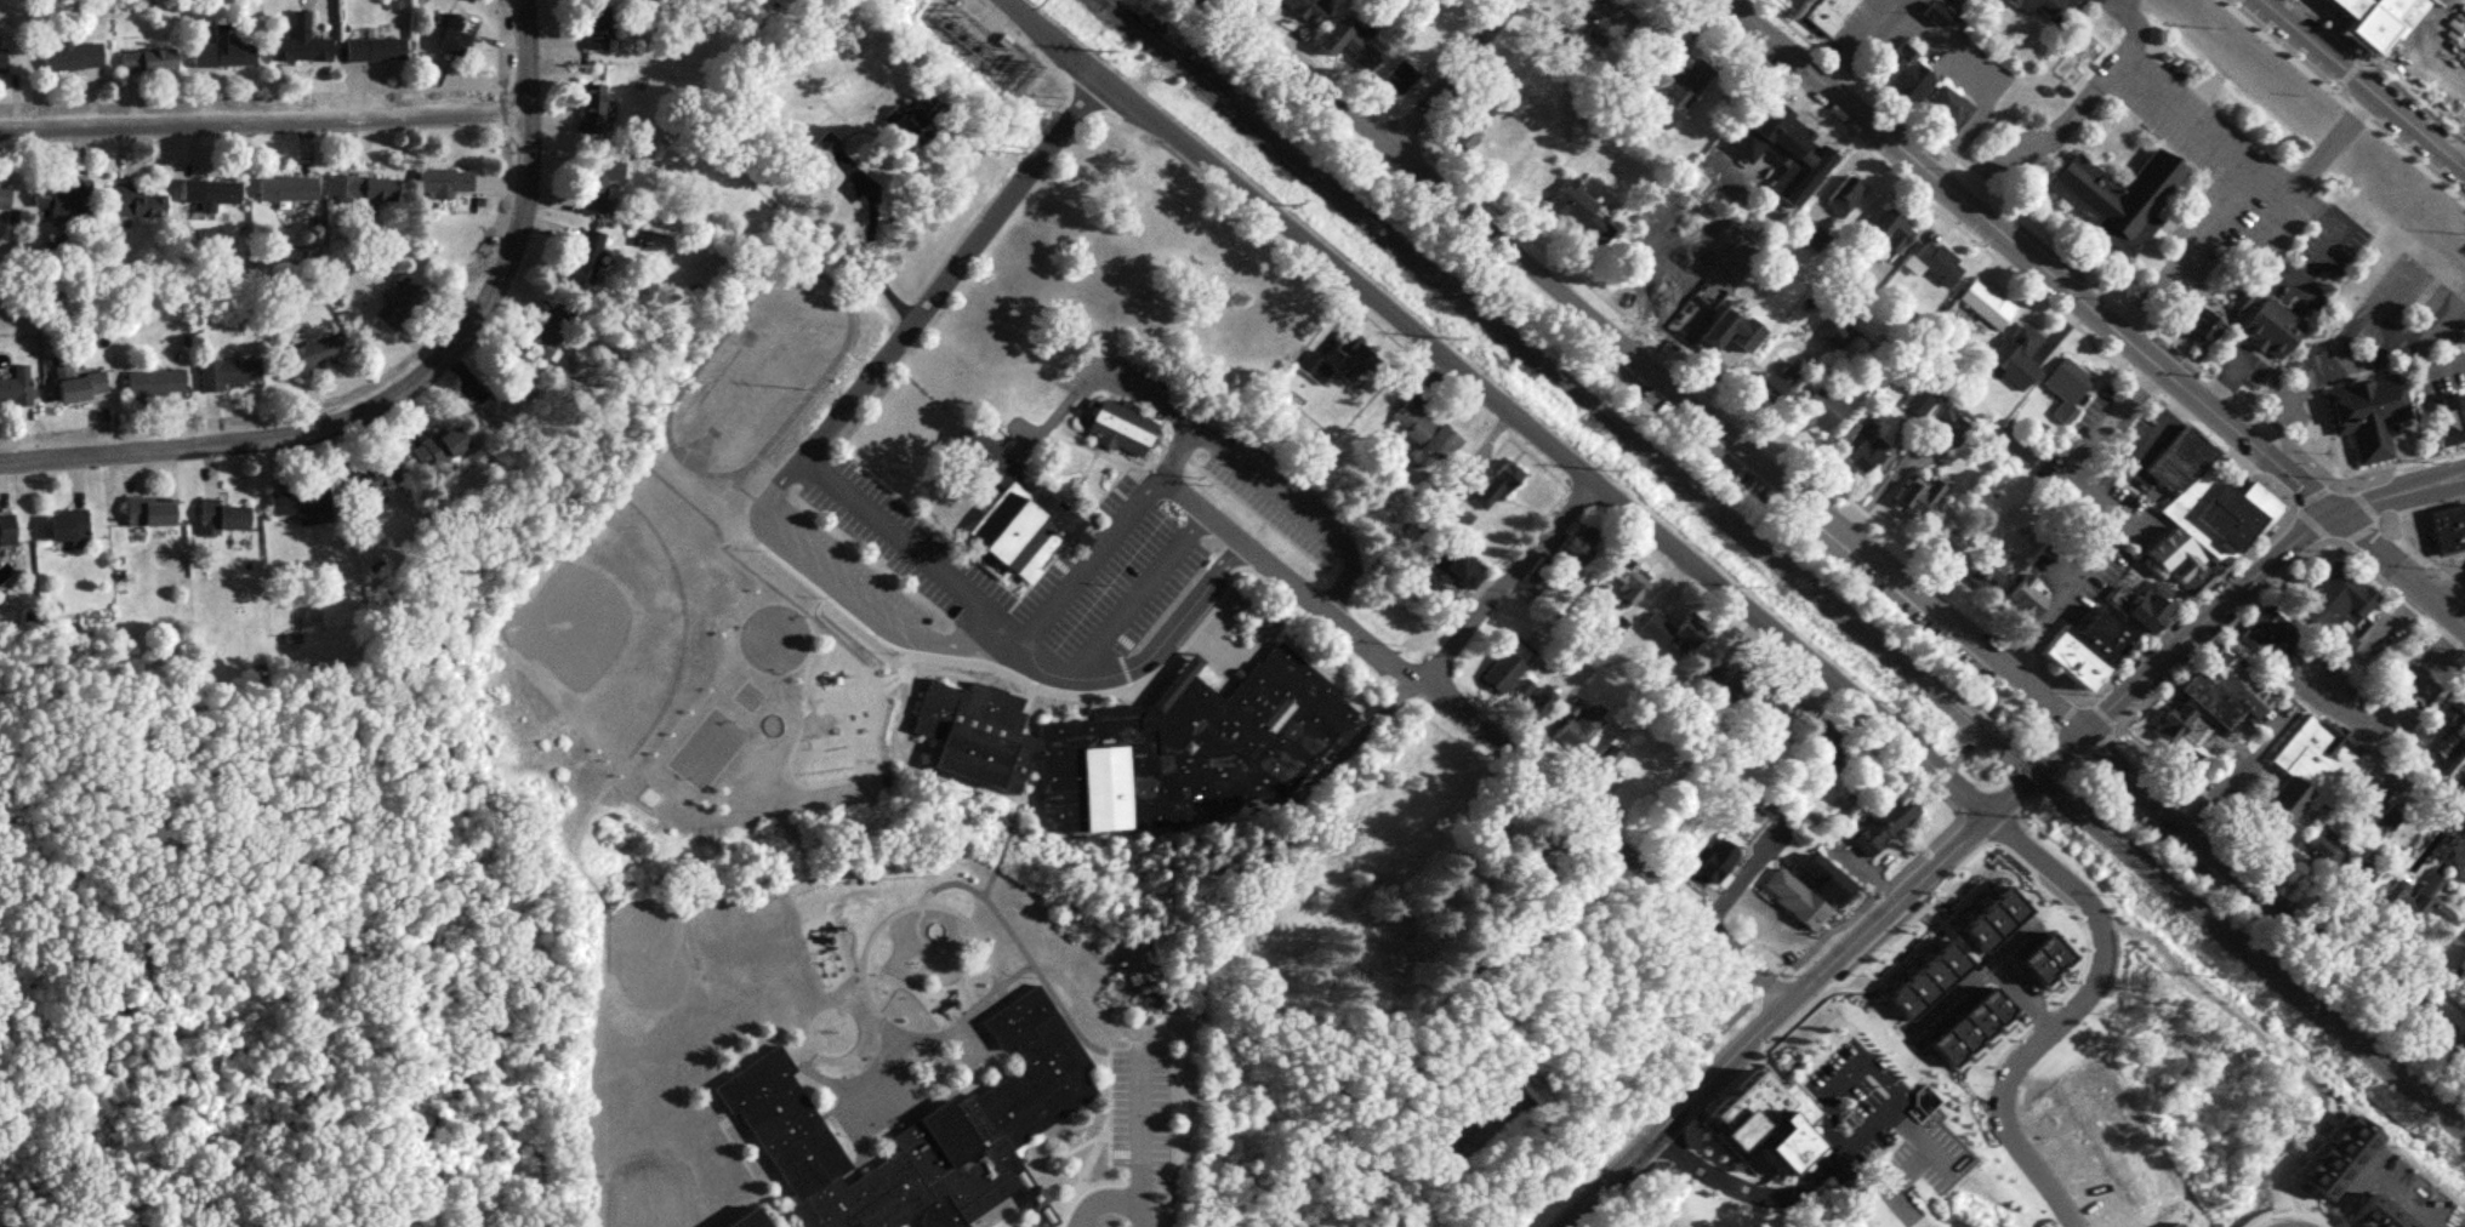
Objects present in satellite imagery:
parking lot: (2077, 2)
road: (2116, 2)
building: (2032, 5)
building: (1296, 6)
building: (1829, 13)
building: (1931, 13)
building: (1605, 19)
building: (2374, 19)
parking lot: (1857, 22)
building: (598, 24)
road: (2134, 30)
building: (460, 34)
building: (1334, 38)
road: (1857, 40)
building: (302, 41)
building: (376, 46)
building: (226, 48)
parking lot: (2438, 50)
road: (2284, 51)
building: (74, 53)
building: (5, 58)
building: (152, 59)
road: (1314, 59)
road: (2384, 67)
road: (2118, 68)
road: (2349, 70)
road: (1452, 73)
building: (1901, 73)
building: (1395, 78)
road: (1976, 80)
road: (2368, 80)
building: (1679, 92)
building: (594, 107)
building: (1946, 108)
road: (2356, 110)
building: (906, 118)
road: (263, 120)
road: (2186, 124)
building: (1468, 125)
road: (1402, 131)
road: (2040, 138)
road: (2325, 142)
building: (1791, 156)
road: (2415, 161)
parking lot: (2218, 170)
building: (446, 181)
building: (597, 184)
building: (289, 187)
building: (366, 187)
building: (212, 192)
building: (1843, 195)
road: (2272, 195)
building: (6, 196)
building: (66, 196)
building: (2112, 196)
building: (142, 200)
building: (1572, 201)
road: (2315, 206)
road: (2215, 216)
building: (1888, 233)
road: (2261, 236)
road: (2051, 238)
parking lot: (2329, 244)
road: (2324, 247)
road: (1988, 252)
road: (872, 256)
road: (2027, 256)
building: (590, 257)
building: (1936, 262)
road: (2299, 283)
parking lot: (2283, 286)
road: (932, 287)
building: (1714, 291)
road: (2148, 293)
building: (1675, 301)
building: (403, 303)
building: (1982, 303)
building: (2201, 325)
building: (2266, 327)
building: (556, 329)
building: (1831, 329)
building: (1726, 332)
building: (319, 352)
road: (2386, 353)
building: (2014, 354)
building: (1351, 355)
road: (2332, 360)
building: (230, 371)
building: (158, 381)
railway: (1559, 382)
building: (81, 383)
road: (410, 383)
building: (1769, 384)
building: (2065, 386)
building: (17, 389)
road: (1719, 392)
building: (512, 396)
road: (2305, 398)
building: (1918, 403)
road: (1502, 404)
building: (1817, 409)
building: (2363, 412)
building: (2446, 418)
building: (1117, 424)
building: (1422, 428)
building: (445, 445)
building: (1860, 447)
road: (1225, 450)
road: (1177, 452)
building: (991, 461)
road: (2397, 463)
building: (375, 478)
building: (1485, 481)
road: (2397, 489)
road: (2309, 492)
building: (1914, 495)
road: (2103, 498)
road: (2359, 498)
building: (2210, 500)
building: (306, 502)
road: (2441, 506)
building: (154, 509)
building: (226, 514)
road: (2406, 514)
road: (2385, 518)
road: (2307, 523)
road: (1841, 524)
building: (70, 525)
building: (1023, 526)
building: (2446, 526)
building: (8, 529)
road: (2357, 530)
building: (1956, 536)
road: (2333, 538)
building: (1576, 541)
road: (2419, 557)
building: (2174, 559)
building: (1987, 564)
building: (1456, 566)
road: (2399, 566)
road: (1509, 580)
road: (2450, 580)
building: (1629, 581)
road: (1137, 592)
road: (2393, 593)
building: (2022, 597)
building: (2330, 598)
road: (878, 601)
building: (2137, 601)
road: (2186, 604)
road: (992, 611)
road: (2390, 617)
building: (1669, 627)
building: (2267, 630)
road: (2218, 634)
park: (772, 635)
road: (2023, 645)
building: (2082, 646)
road: (2016, 651)
road: (1148, 652)
building: (1505, 663)
building: (2224, 669)
building: (1710, 673)
road: (2060, 675)
building: (1741, 683)
parking lot: (2376, 686)
building: (1520, 687)
building: (1535, 701)
building: (2211, 706)
road: (1989, 707)
road: (2025, 707)
road: (2102, 709)
road: (2389, 709)
building: (1780, 712)
building: (2453, 712)
road: (2066, 713)
road: (1484, 726)
building: (1576, 726)
building: (2180, 734)
road: (2101, 741)
building: (1143, 742)
building: (1824, 744)
park: (707, 747)
building: (2448, 753)
building: (1602, 757)
parking lot: (2220, 761)
building: (2315, 769)
road: (2227, 772)
railway: (2032, 775)
road: (2404, 786)
road: (2031, 797)
building: (1880, 823)
building: (1338, 828)
building: (2324, 844)
road: (1940, 861)
road: (2288, 864)
building: (2361, 871)
building: (1744, 880)
road: (1428, 897)
building: (2429, 898)
parking lot: (2277, 930)
building: (1974, 941)
building: (1385, 946)
railway: (2255, 960)
road: (1770, 983)
road: (2066, 1012)
road: (1845, 1074)
building: (1875, 1077)
road: (1885, 1077)
parking lot: (1858, 1101)
parking lot: (1139, 1111)
road: (1831, 1124)
road: (1869, 1125)
road: (1906, 1125)
building: (920, 1130)
building: (1767, 1132)
building: (2342, 1164)
road: (1137, 1170)
road: (1742, 1186)
road: (2419, 1199)
building: (2375, 1216)
building: (746, 1219)
road: (1138, 1220)
building: (2174, 1225)

